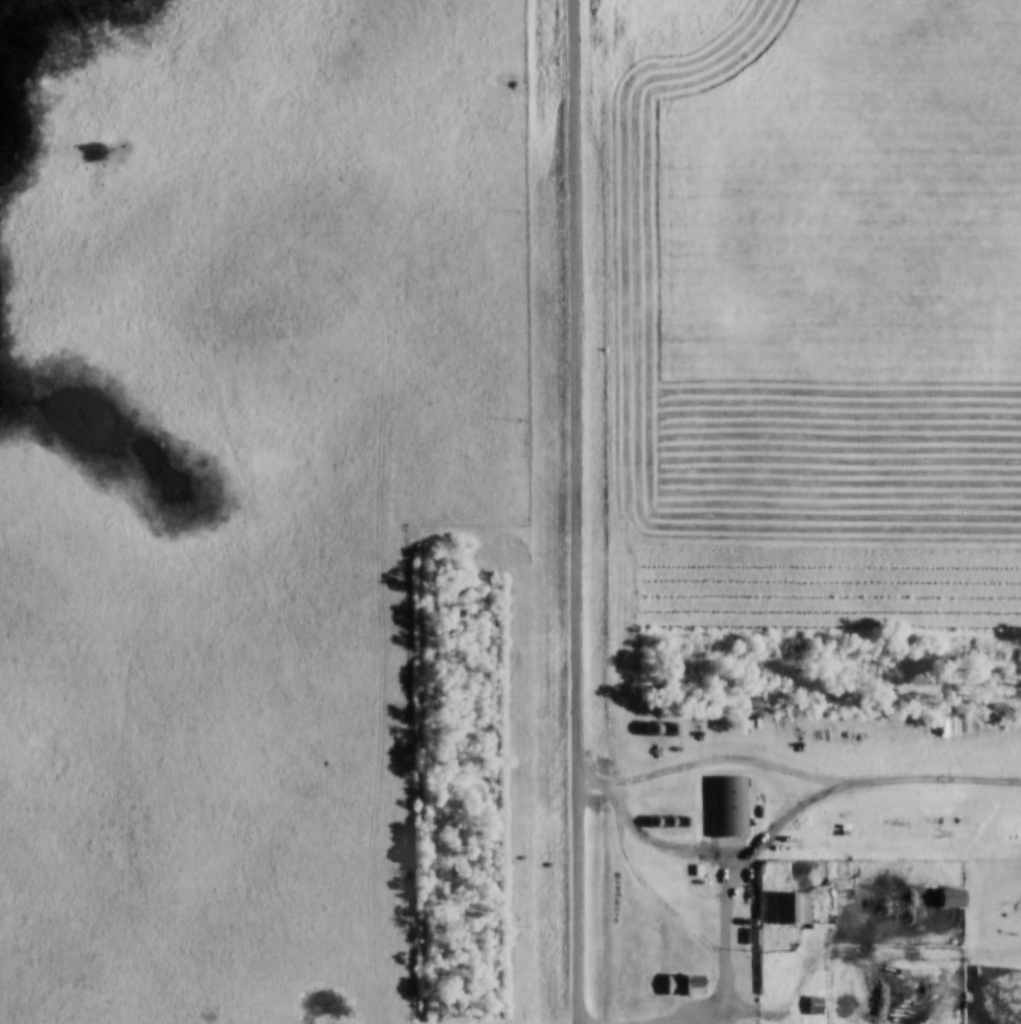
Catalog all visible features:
road: (574, 511)
road: (855, 780)
building: (728, 806)
road: (632, 874)
building: (947, 898)
building: (792, 907)
building: (751, 937)
road: (722, 952)
building: (679, 984)
road: (712, 1005)
building: (812, 1005)

